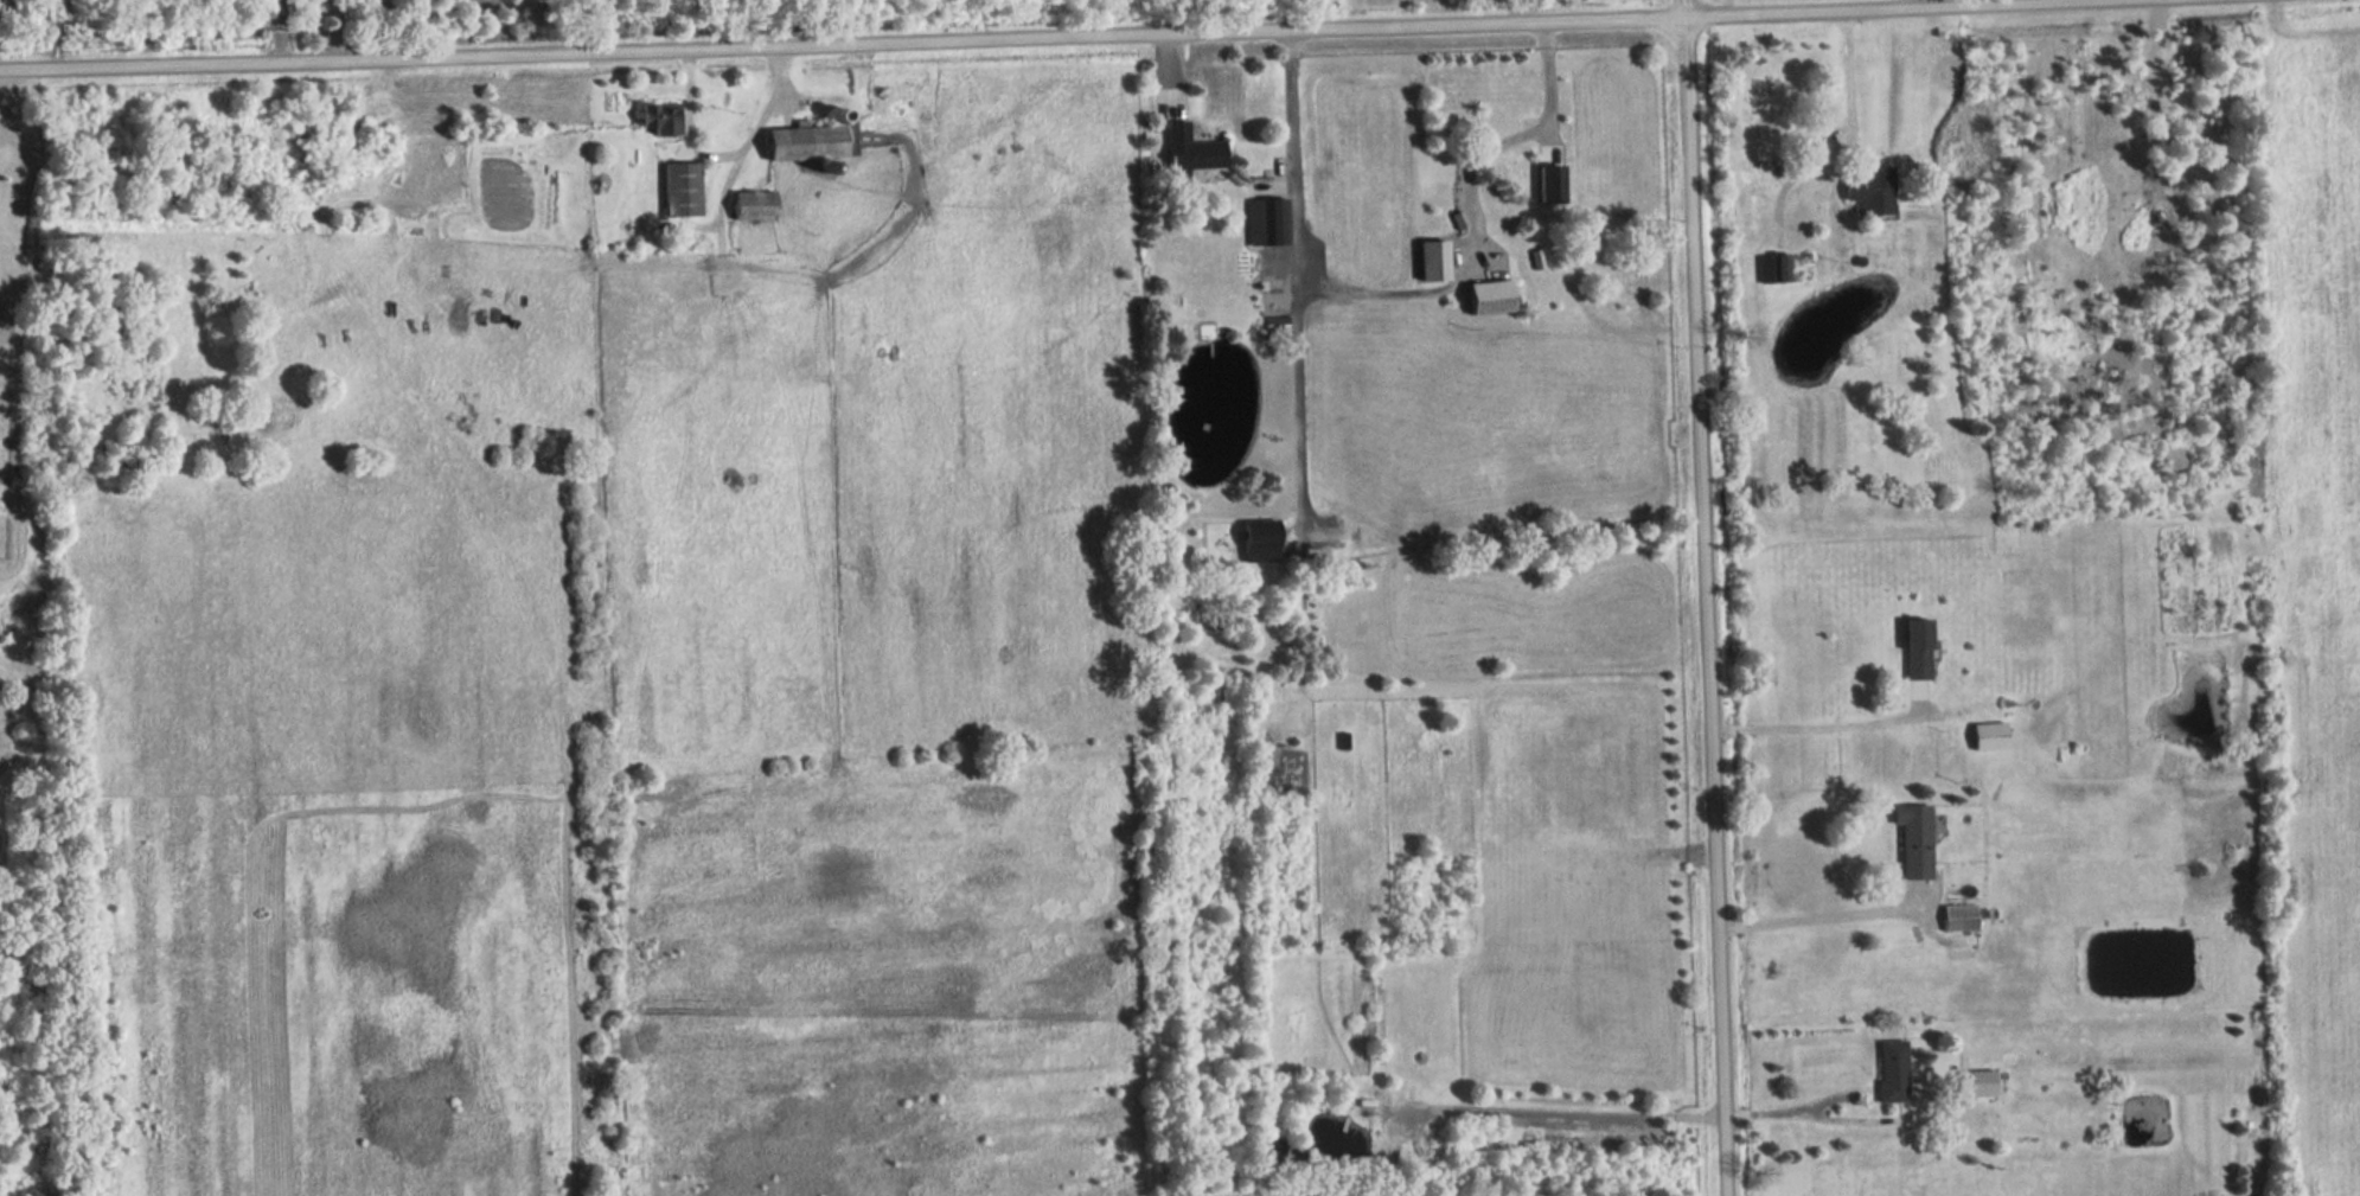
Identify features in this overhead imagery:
road: (2072, 4)
road: (1713, 9)
road: (1518, 12)
road: (280, 32)
road: (339, 32)
road: (1108, 38)
road: (1846, 79)
building: (660, 119)
building: (811, 143)
building: (1191, 151)
road: (719, 156)
building: (1610, 178)
building: (1552, 185)
building: (682, 190)
building: (1872, 193)
building: (753, 206)
building: (1267, 223)
road: (2250, 232)
building: (1433, 261)
building: (1490, 298)
building: (1260, 545)
road: (1701, 597)
building: (1917, 650)
road: (1814, 729)
building: (1989, 737)
building: (1913, 840)
road: (1811, 914)
building: (1959, 920)
building: (1892, 1072)
building: (1977, 1083)
road: (1779, 1113)

